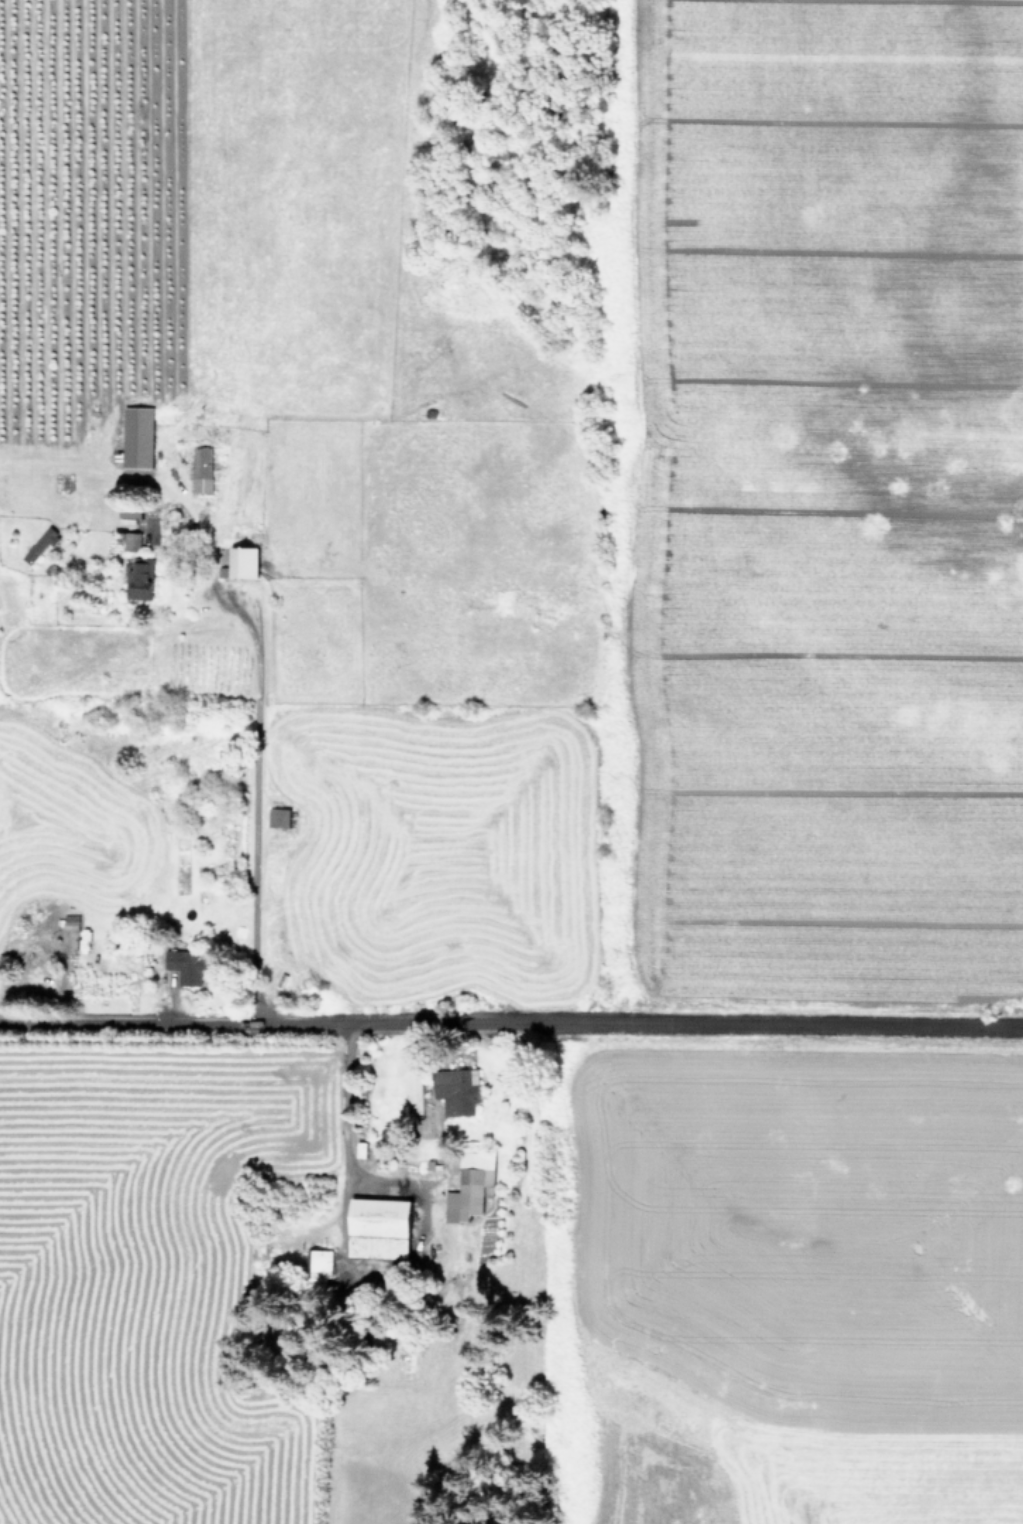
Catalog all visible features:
building: (140, 436)
building: (204, 469)
building: (133, 540)
building: (43, 544)
building: (249, 561)
building: (143, 580)
crop: (511, 762)
road: (255, 793)
building: (281, 817)
building: (192, 965)
road: (511, 1013)
building: (453, 1089)
building: (468, 1185)
building: (374, 1226)
road: (339, 1245)
building: (318, 1262)

